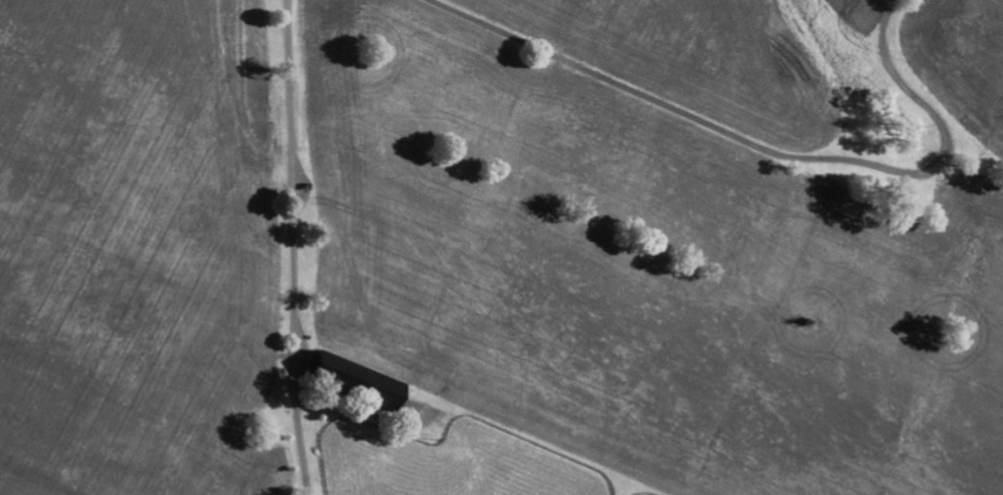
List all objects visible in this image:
road: (761, 158)
road: (291, 247)
building: (357, 379)

